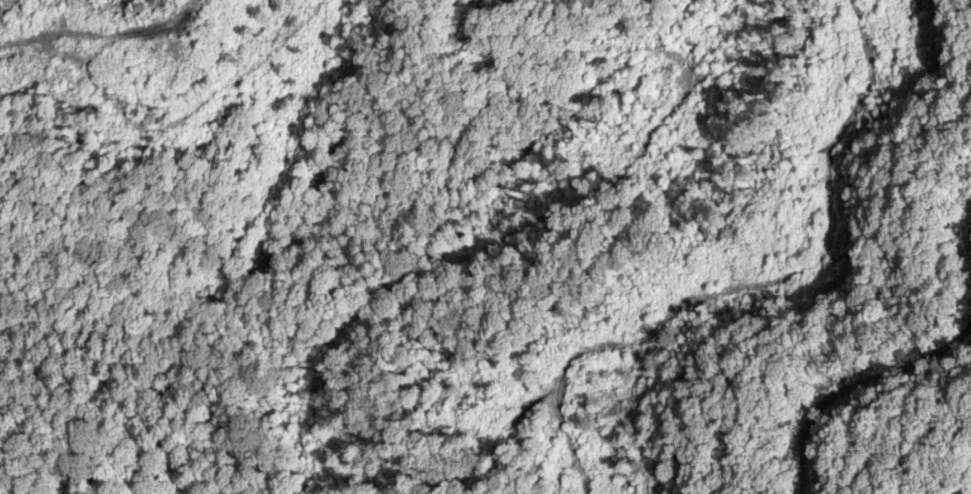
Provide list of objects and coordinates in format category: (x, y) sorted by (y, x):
road: (911, 358)

